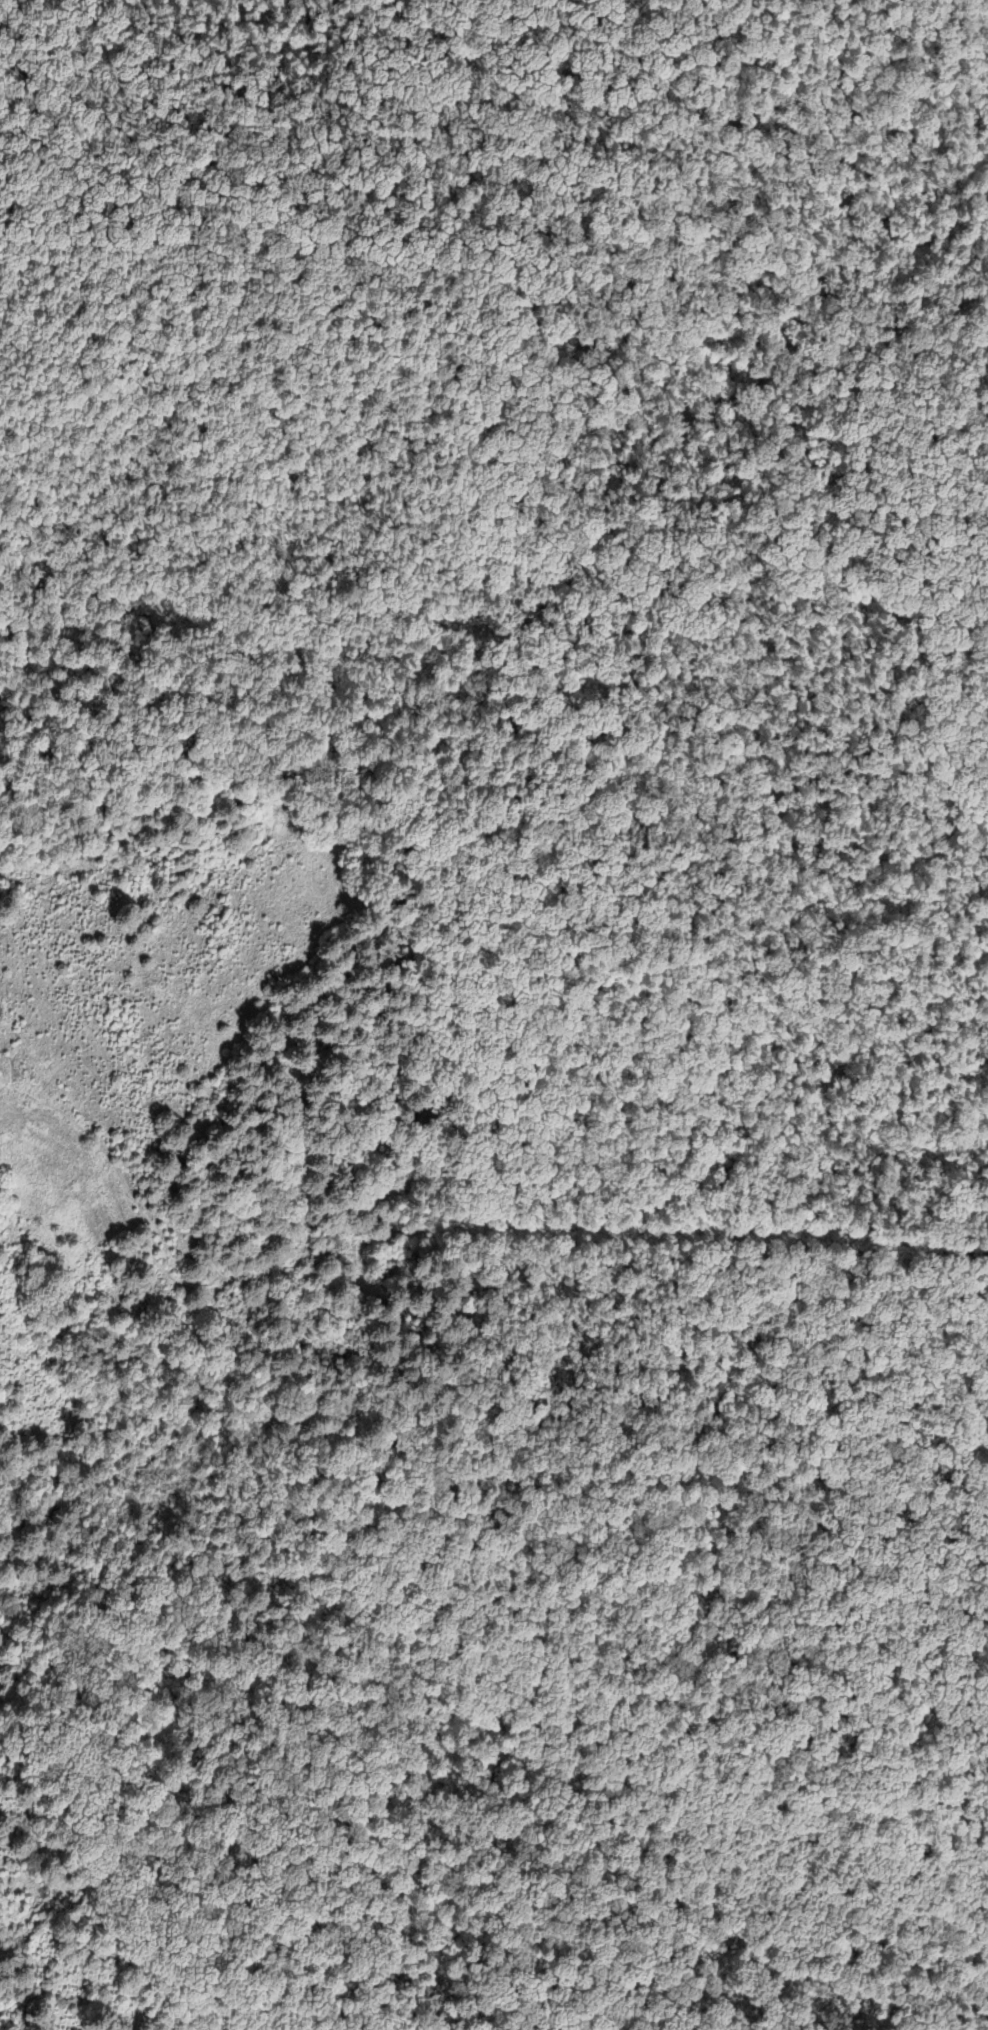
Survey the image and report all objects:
road: (7, 1082)
road: (672, 1200)
road: (166, 1271)
road: (937, 1335)
road: (325, 1441)
road: (898, 1457)
road: (11, 1535)
park: (914, 1639)

